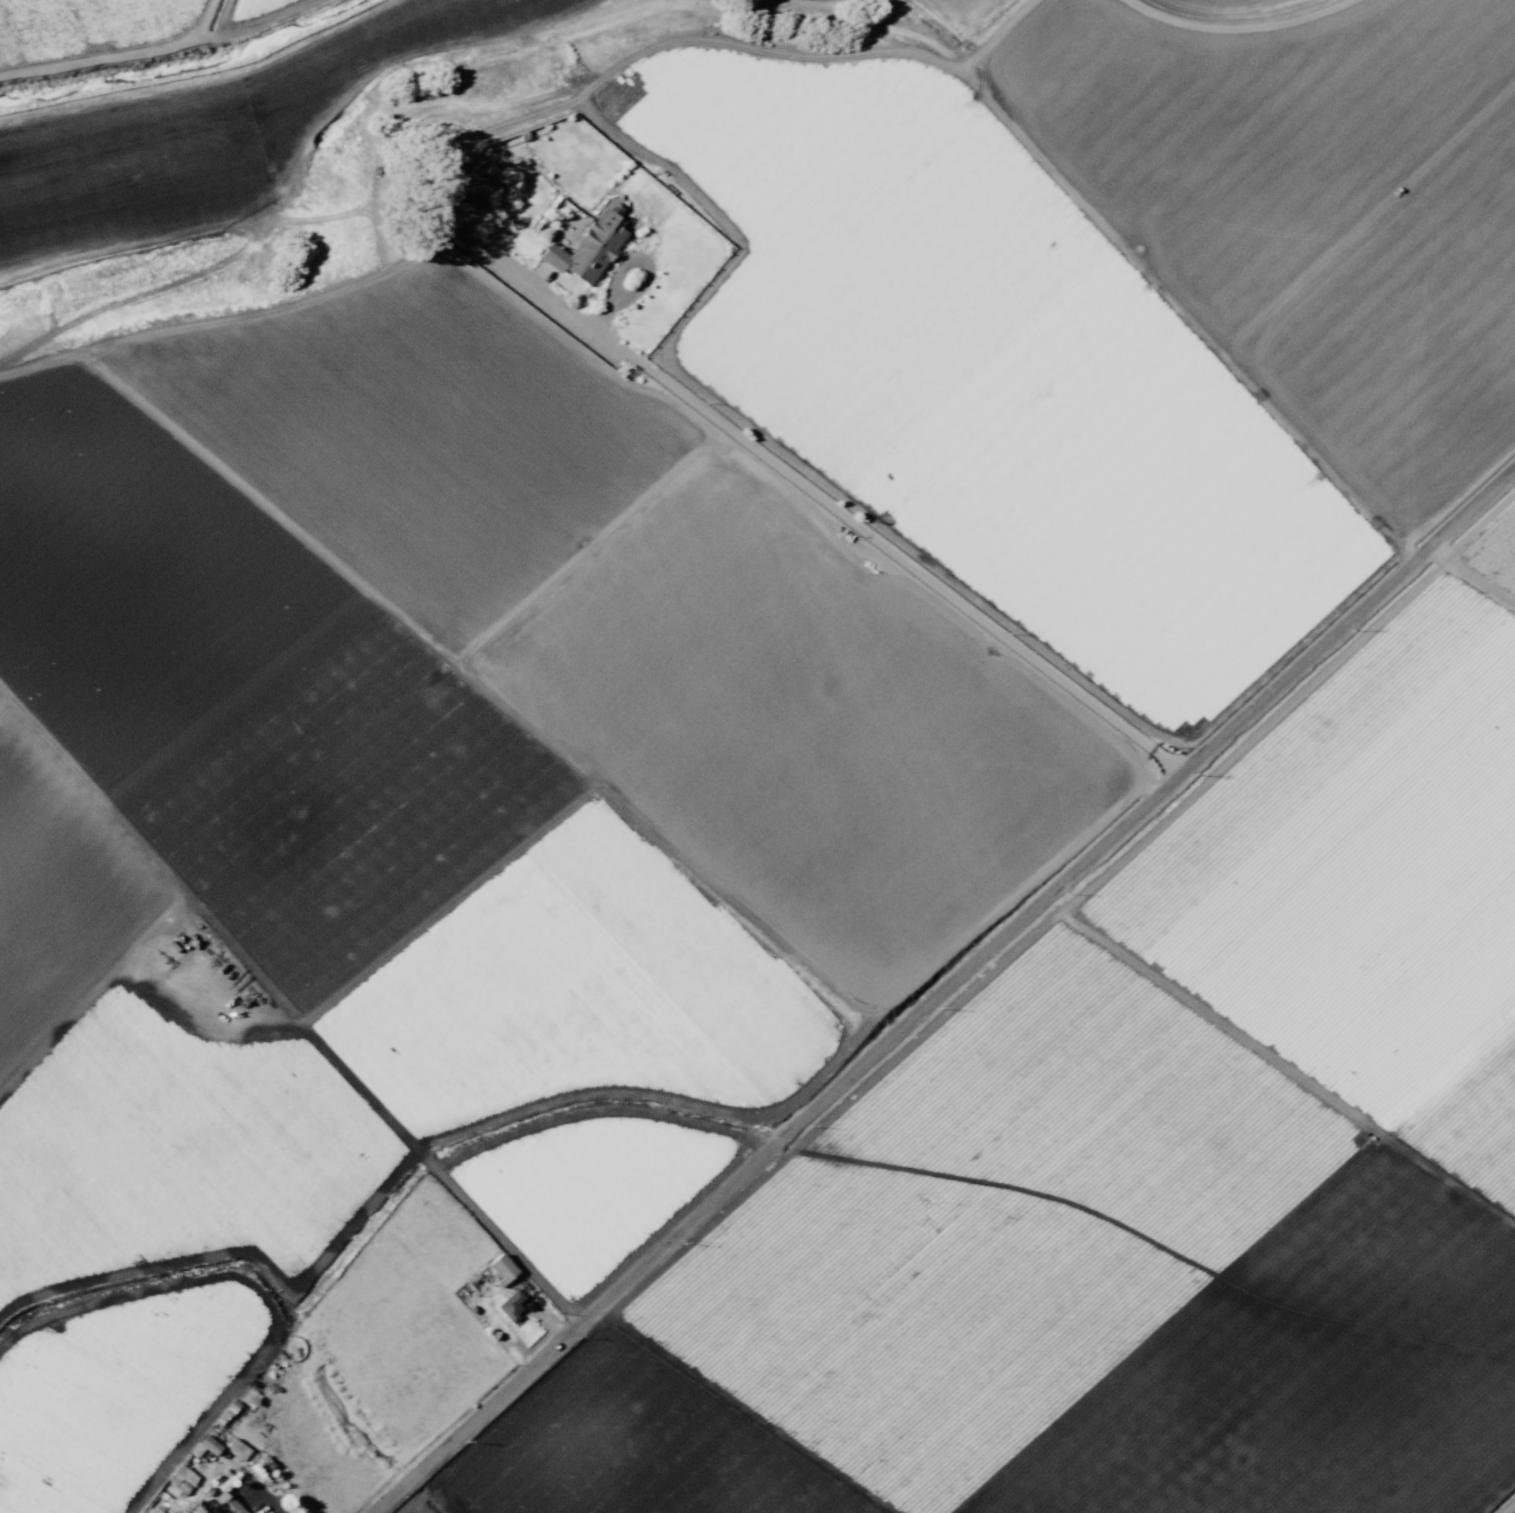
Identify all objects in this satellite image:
road: (1243, 31)
road: (755, 55)
crop: (177, 106)
building: (473, 190)
road: (1093, 237)
building: (589, 246)
road: (619, 383)
road: (1286, 443)
road: (817, 498)
road: (584, 550)
road: (952, 578)
road: (474, 683)
crop: (800, 820)
road: (449, 905)
road: (947, 991)
road: (824, 1072)
road: (367, 1097)
road: (602, 1110)
building: (501, 1267)
building: (510, 1305)
building: (209, 1444)
building: (237, 1449)
building: (228, 1503)
building: (211, 1511)

